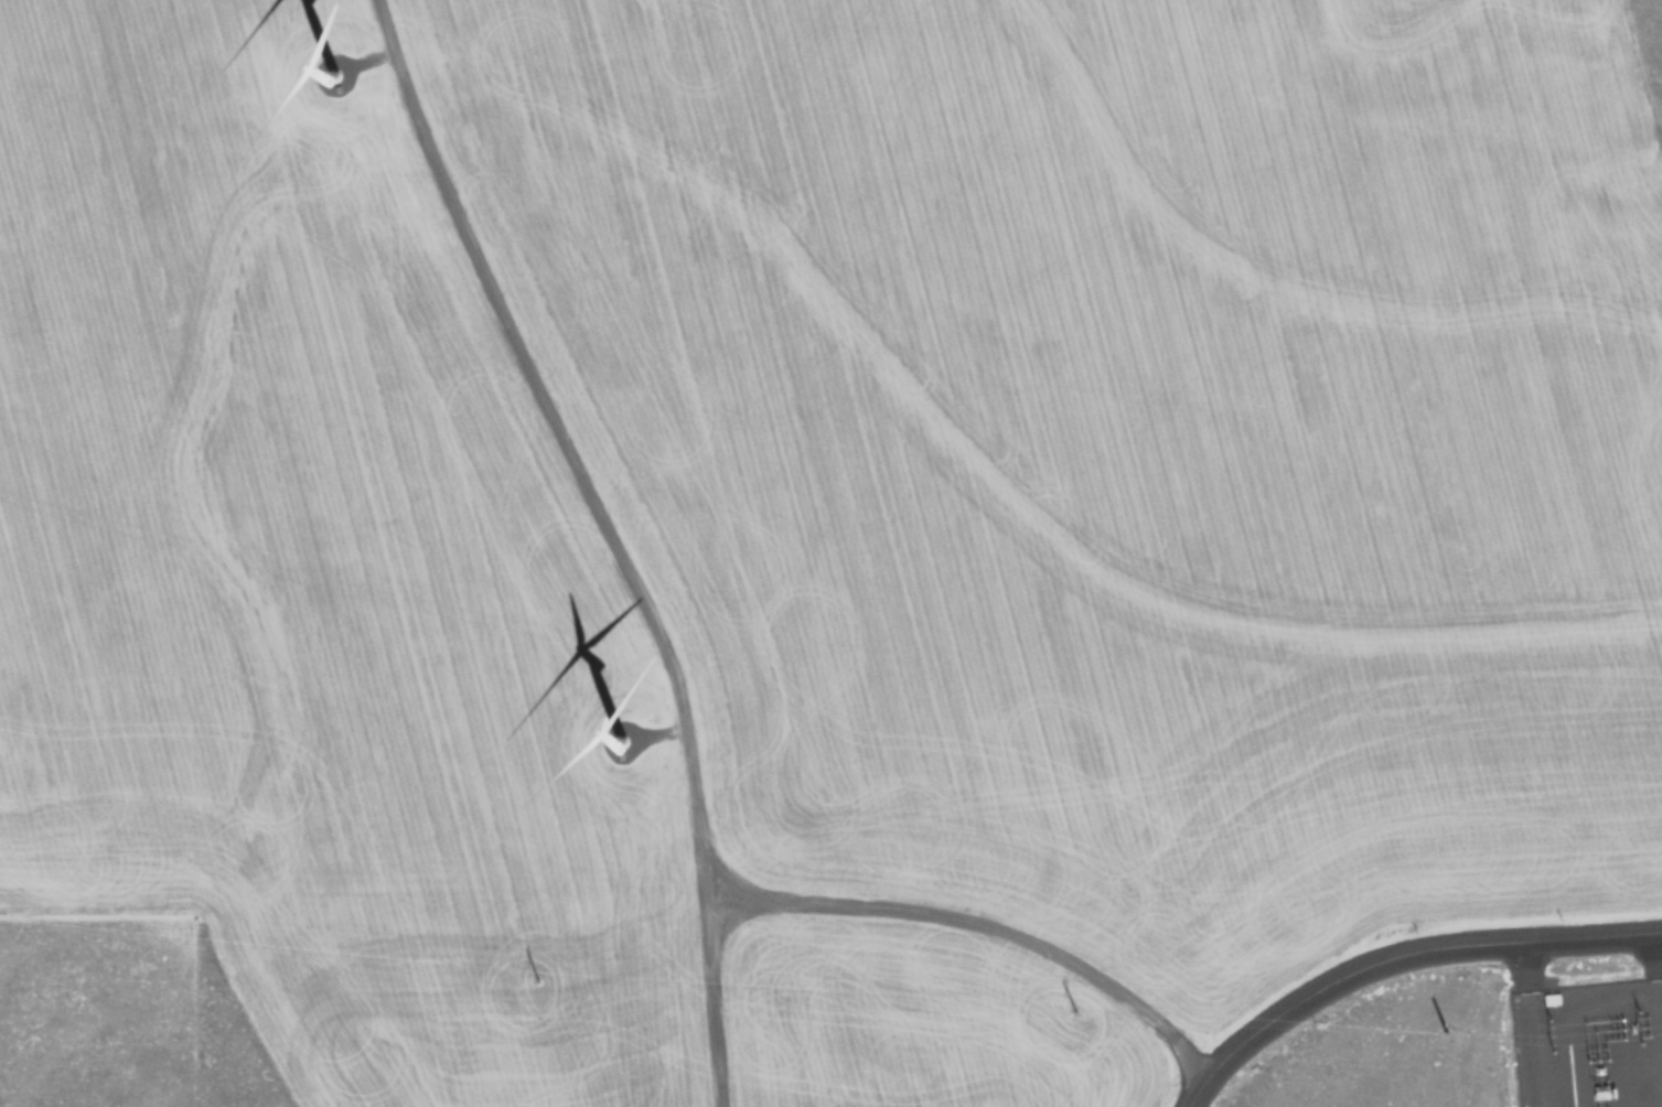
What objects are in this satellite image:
wind turbine: (321, 66)
road: (677, 681)
wind turbine: (610, 732)
road: (1398, 953)
power tower: (535, 974)
power tower: (1081, 1009)
power tower: (1446, 1025)
power substation: (1588, 1045)

